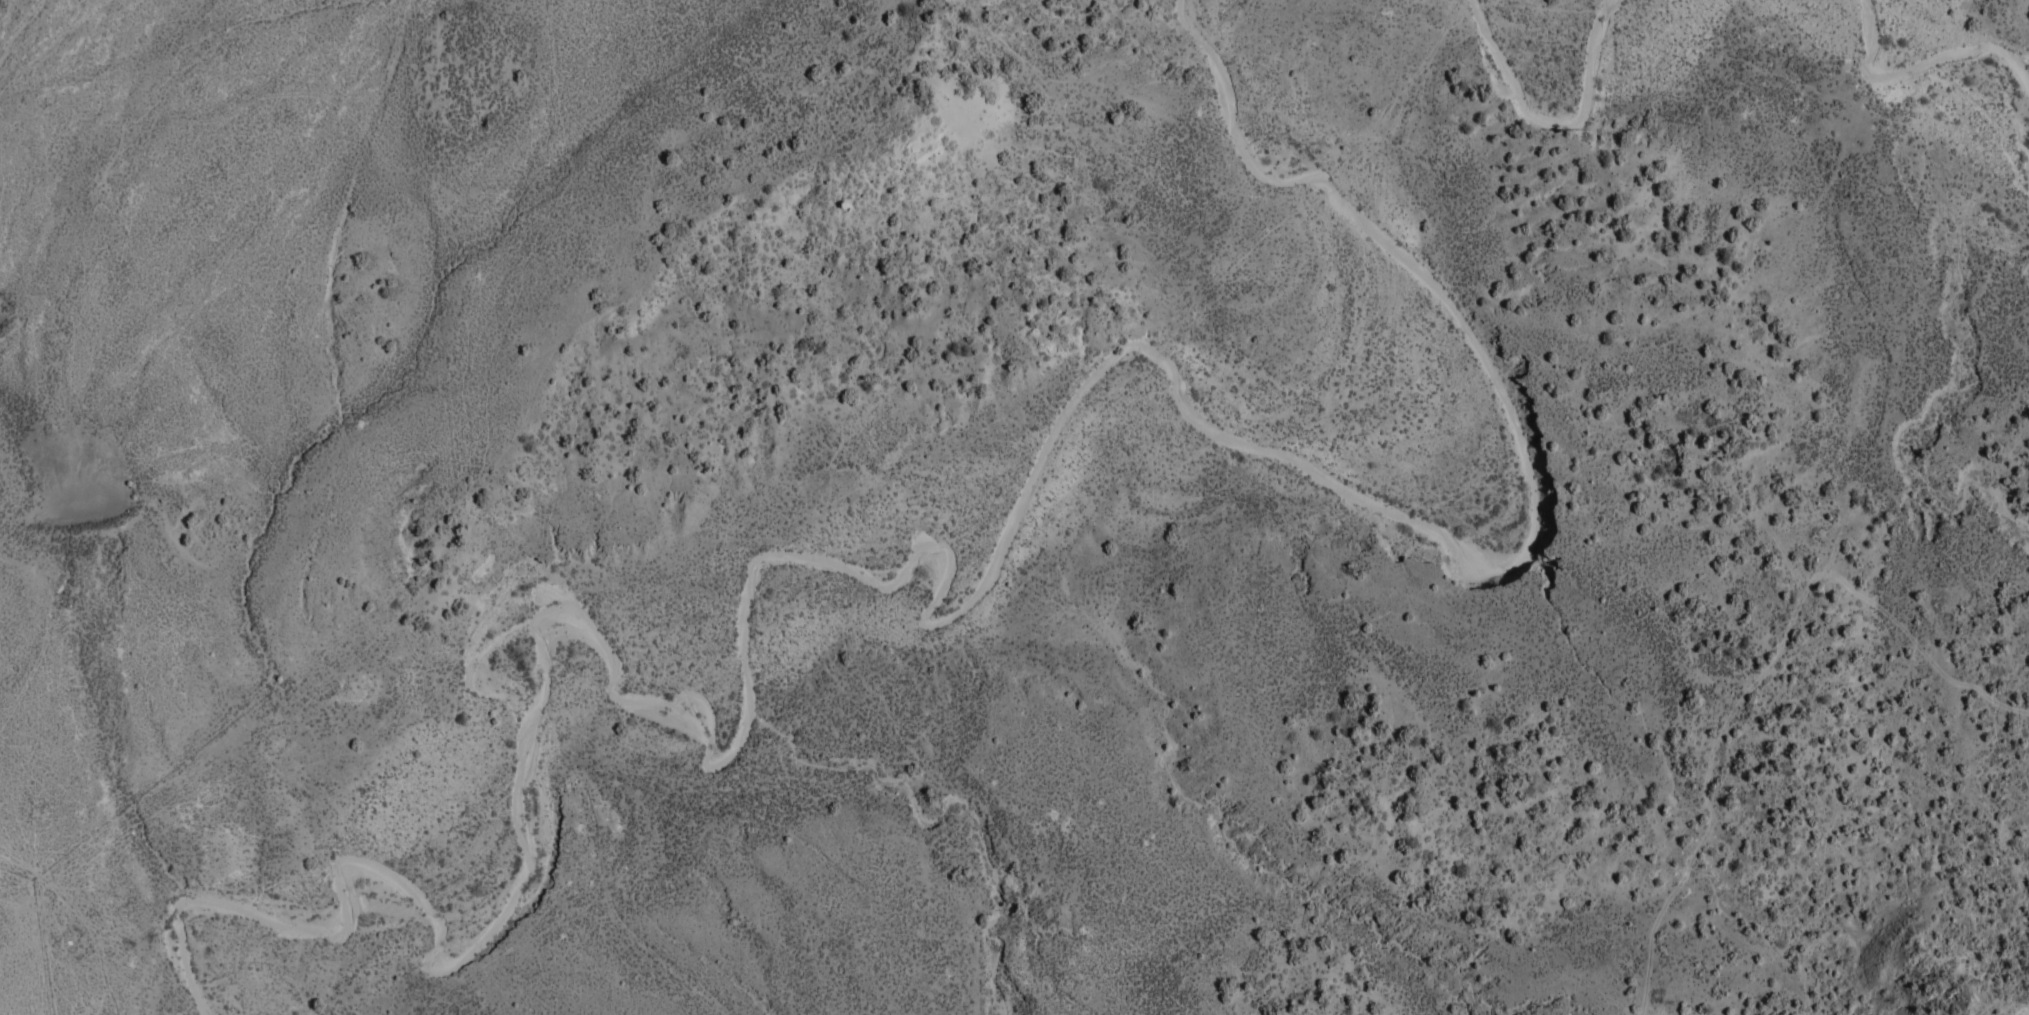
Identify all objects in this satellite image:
road: (41, 81)
river: (1551, 102)
river: (1906, 149)
river: (920, 597)
road: (3, 820)

